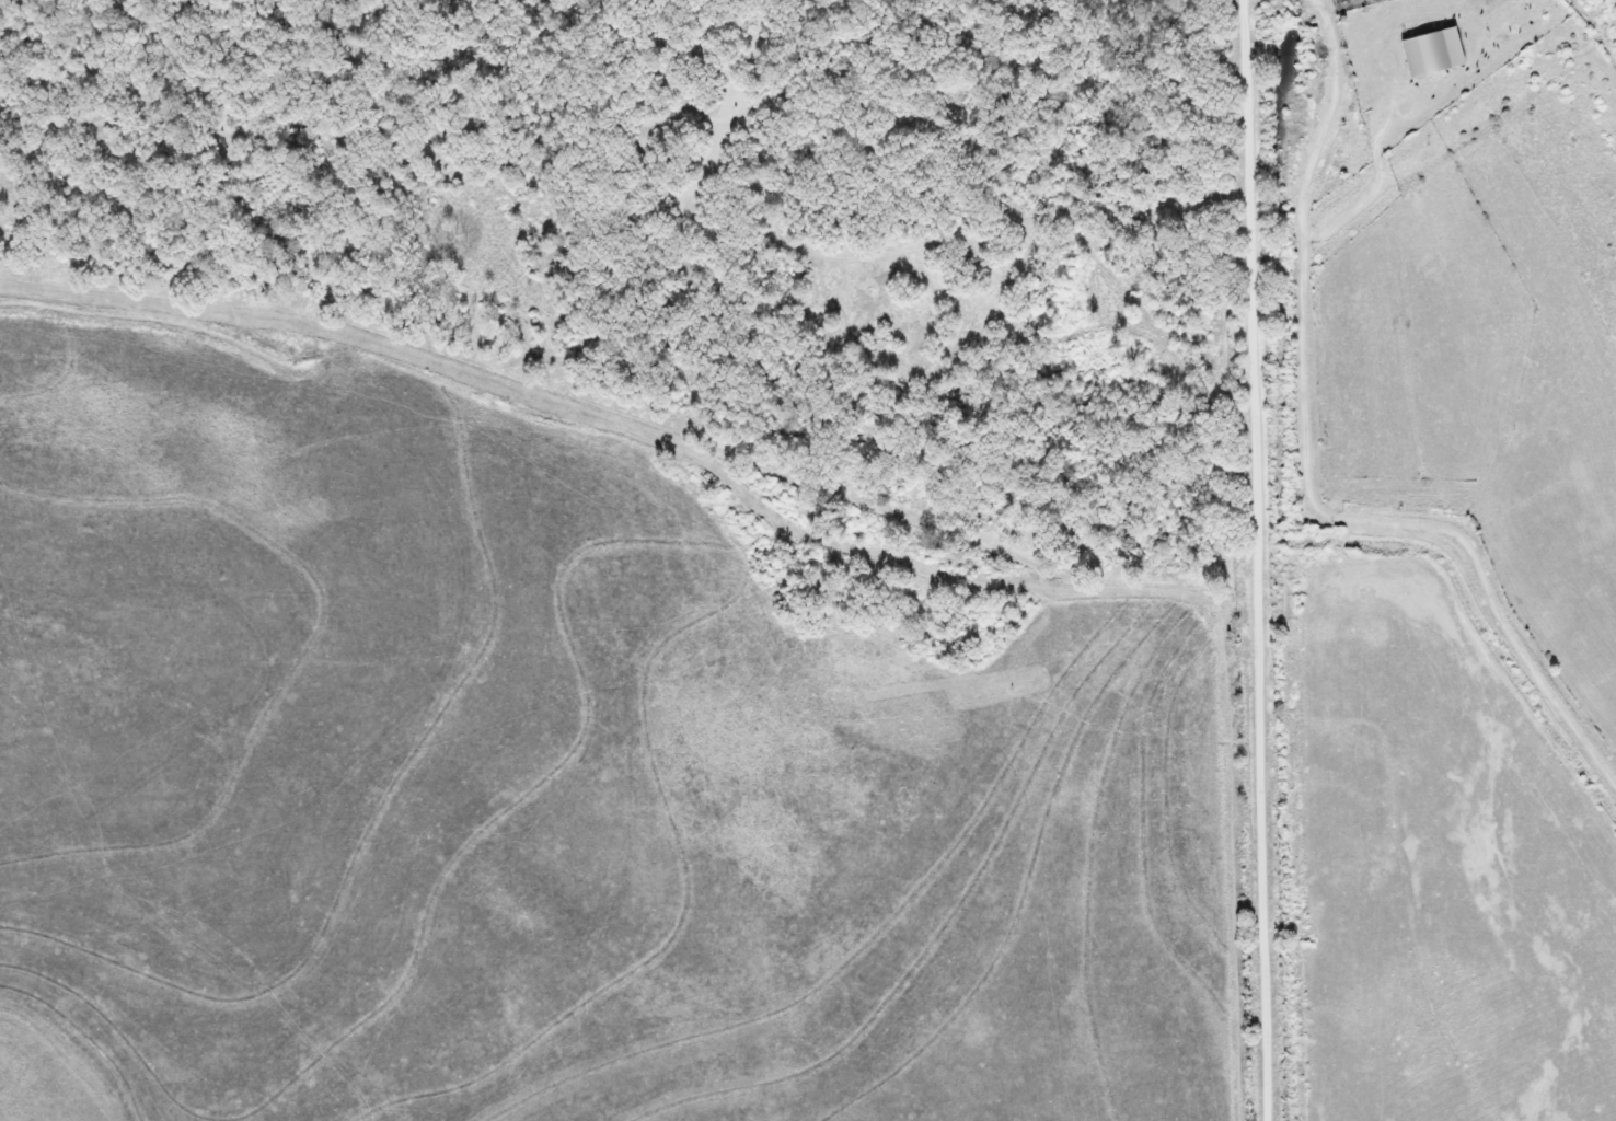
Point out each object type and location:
building: (1427, 57)

